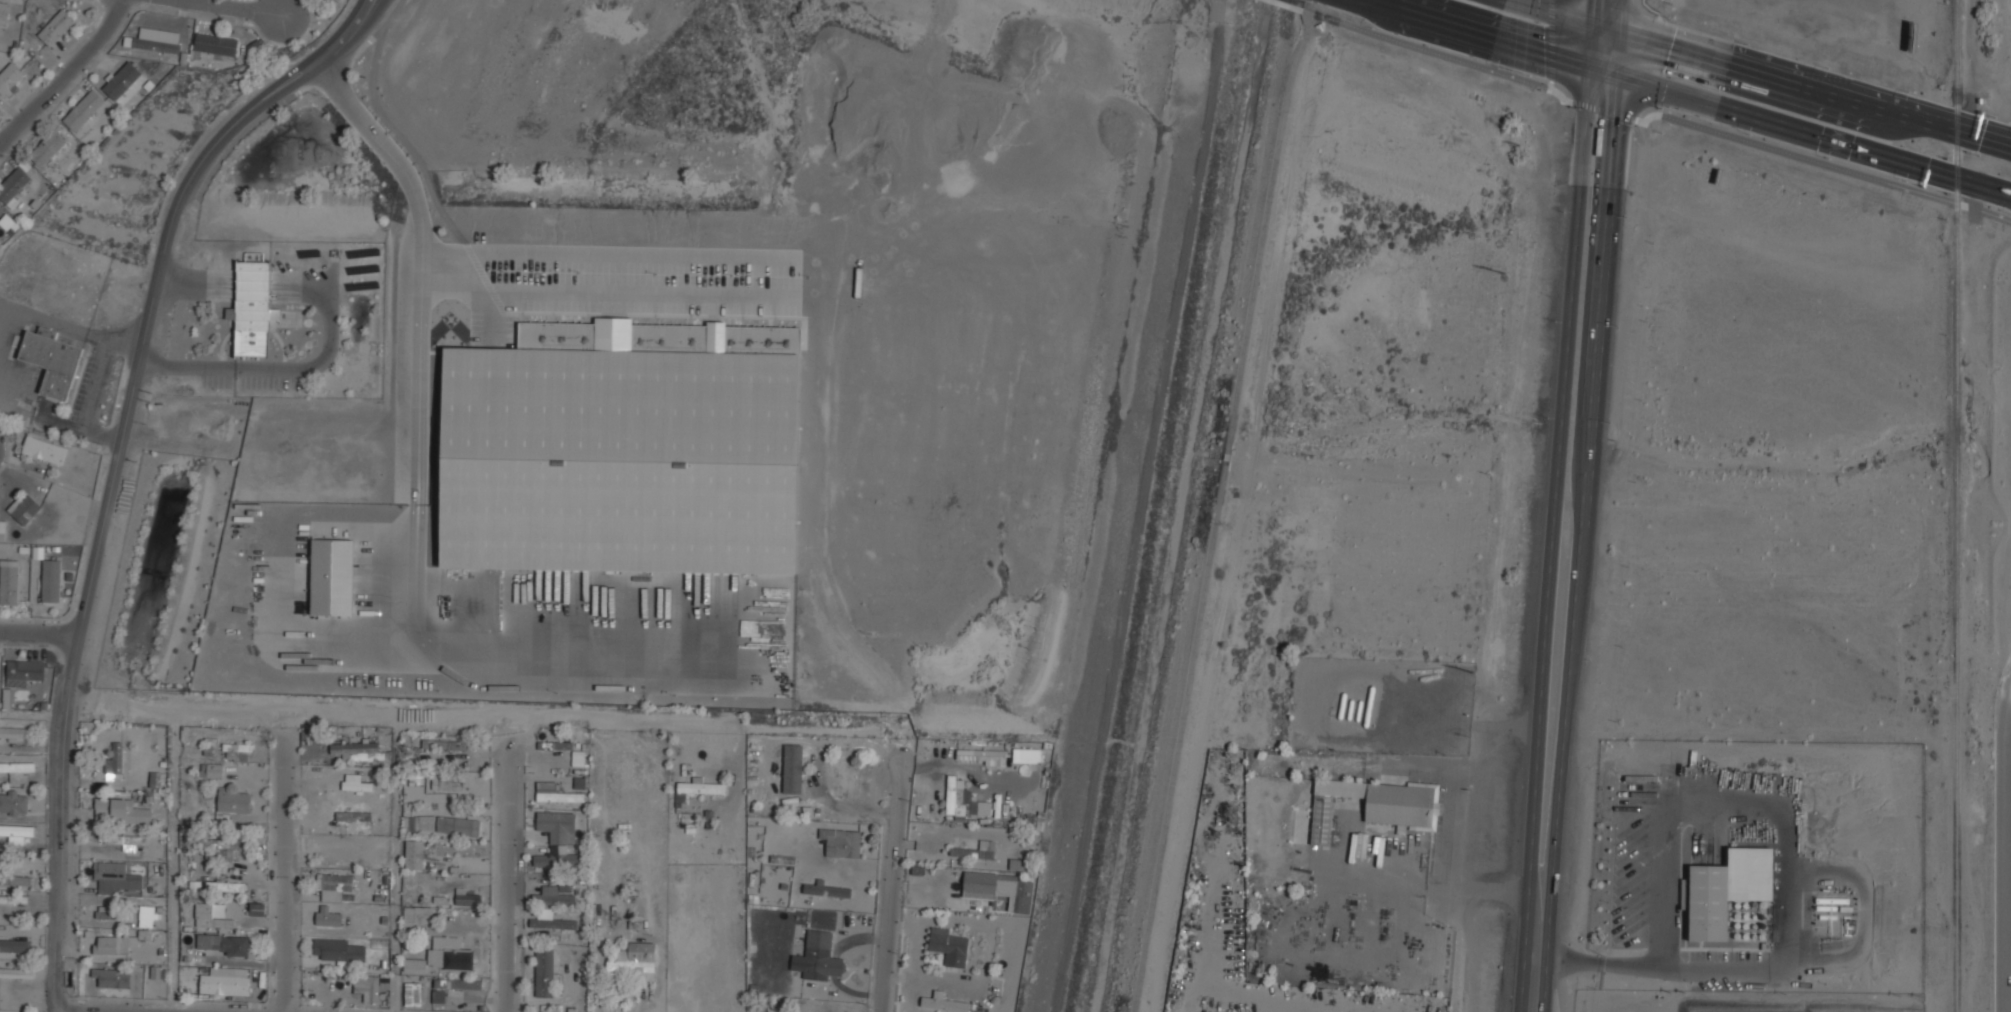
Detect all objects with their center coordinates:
road: (191, 0)
building: (337, 0)
road: (1290, 5)
road: (242, 8)
building: (3, 12)
building: (1320, 25)
building: (56, 26)
traffic signals: (1593, 28)
road: (1488, 36)
traffic signals: (1620, 37)
building: (157, 40)
road: (1440, 43)
building: (216, 44)
traffic signals: (1587, 64)
road: (62, 70)
traffic signals: (1618, 75)
road: (1755, 76)
building: (10, 78)
building: (122, 80)
building: (85, 111)
road: (1787, 126)
building: (47, 148)
road: (1782, 154)
road: (422, 163)
building: (13, 186)
road: (1984, 186)
road: (608, 252)
building: (252, 311)
building: (52, 361)
building: (623, 449)
building: (44, 450)
road: (116, 464)
road: (417, 487)
road: (1555, 505)
road: (1219, 506)
road: (1583, 506)
railway: (1956, 506)
building: (25, 508)
building: (331, 576)
building: (51, 580)
building: (9, 582)
road: (38, 632)
building: (24, 672)
building: (1341, 705)
storage tank: (1341, 705)
building: (1369, 707)
storage tank: (1369, 707)
building: (1350, 709)
storage tank: (1350, 709)
building: (1358, 710)
storage tank: (1358, 710)
road: (444, 715)
building: (14, 732)
road: (527, 733)
building: (458, 745)
building: (360, 750)
building: (237, 752)
building: (983, 756)
building: (115, 763)
building: (793, 768)
building: (215, 770)
building: (18, 771)
building: (445, 782)
building: (355, 783)
building: (701, 788)
building: (958, 799)
building: (14, 802)
building: (231, 805)
building: (1375, 805)
building: (121, 812)
building: (353, 816)
building: (1035, 820)
building: (419, 823)
building: (458, 826)
building: (17, 833)
building: (557, 839)
building: (124, 841)
building: (842, 843)
building: (1361, 844)
road: (2006, 848)
building: (975, 850)
building: (414, 854)
building: (1018, 864)
road: (285, 871)
building: (115, 877)
road: (510, 879)
road: (1790, 880)
building: (225, 886)
building: (334, 886)
road: (1539, 886)
road: (891, 888)
building: (1000, 888)
building: (1726, 890)
building: (554, 895)
building: (468, 899)
building: (147, 916)
building: (213, 916)
building: (328, 916)
building: (416, 916)
building: (551, 921)
building: (114, 944)
building: (226, 944)
building: (14, 945)
building: (949, 946)
building: (338, 949)
building: (449, 954)
building: (818, 957)
building: (634, 961)
building: (414, 965)
building: (544, 973)
building: (112, 977)
building: (188, 977)
building: (384, 983)
building: (224, 984)
building: (367, 987)
building: (412, 994)
building: (943, 1003)

